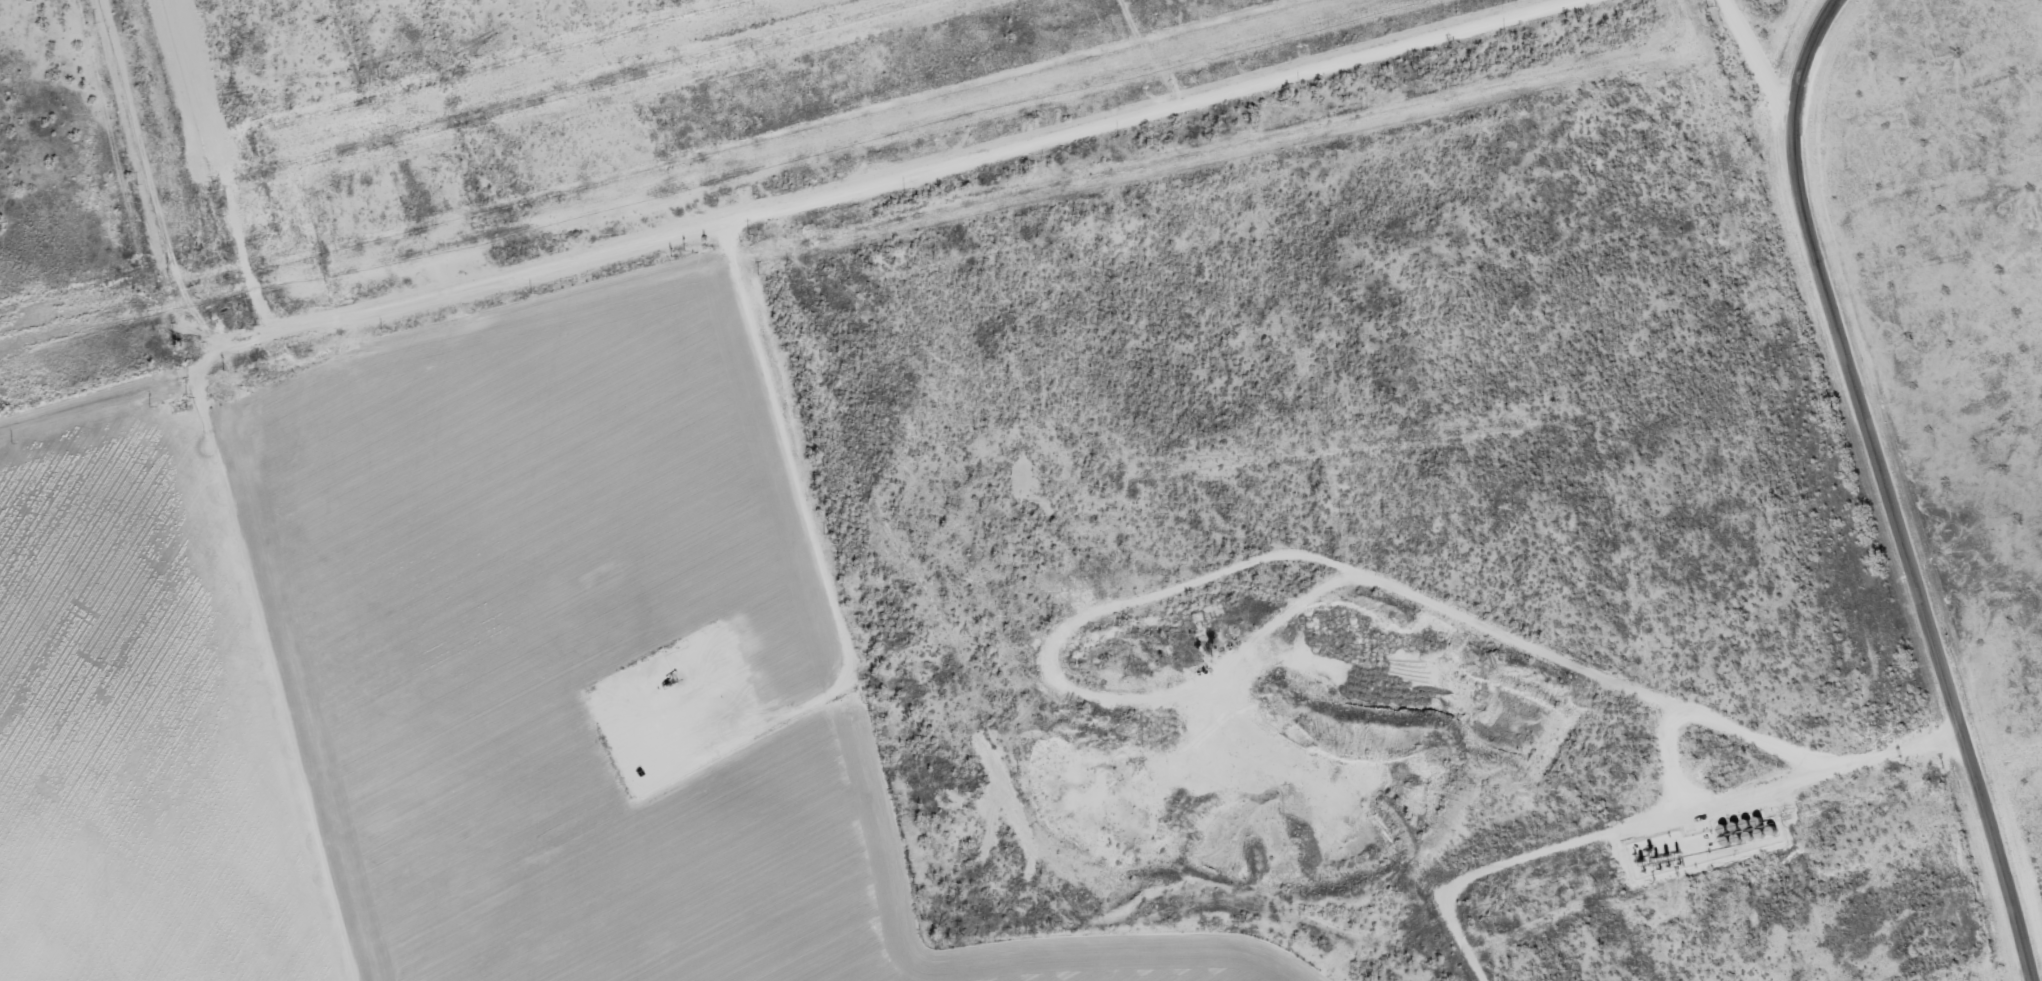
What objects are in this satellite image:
road: (1748, 62)
road: (1829, 64)
road: (1912, 546)

